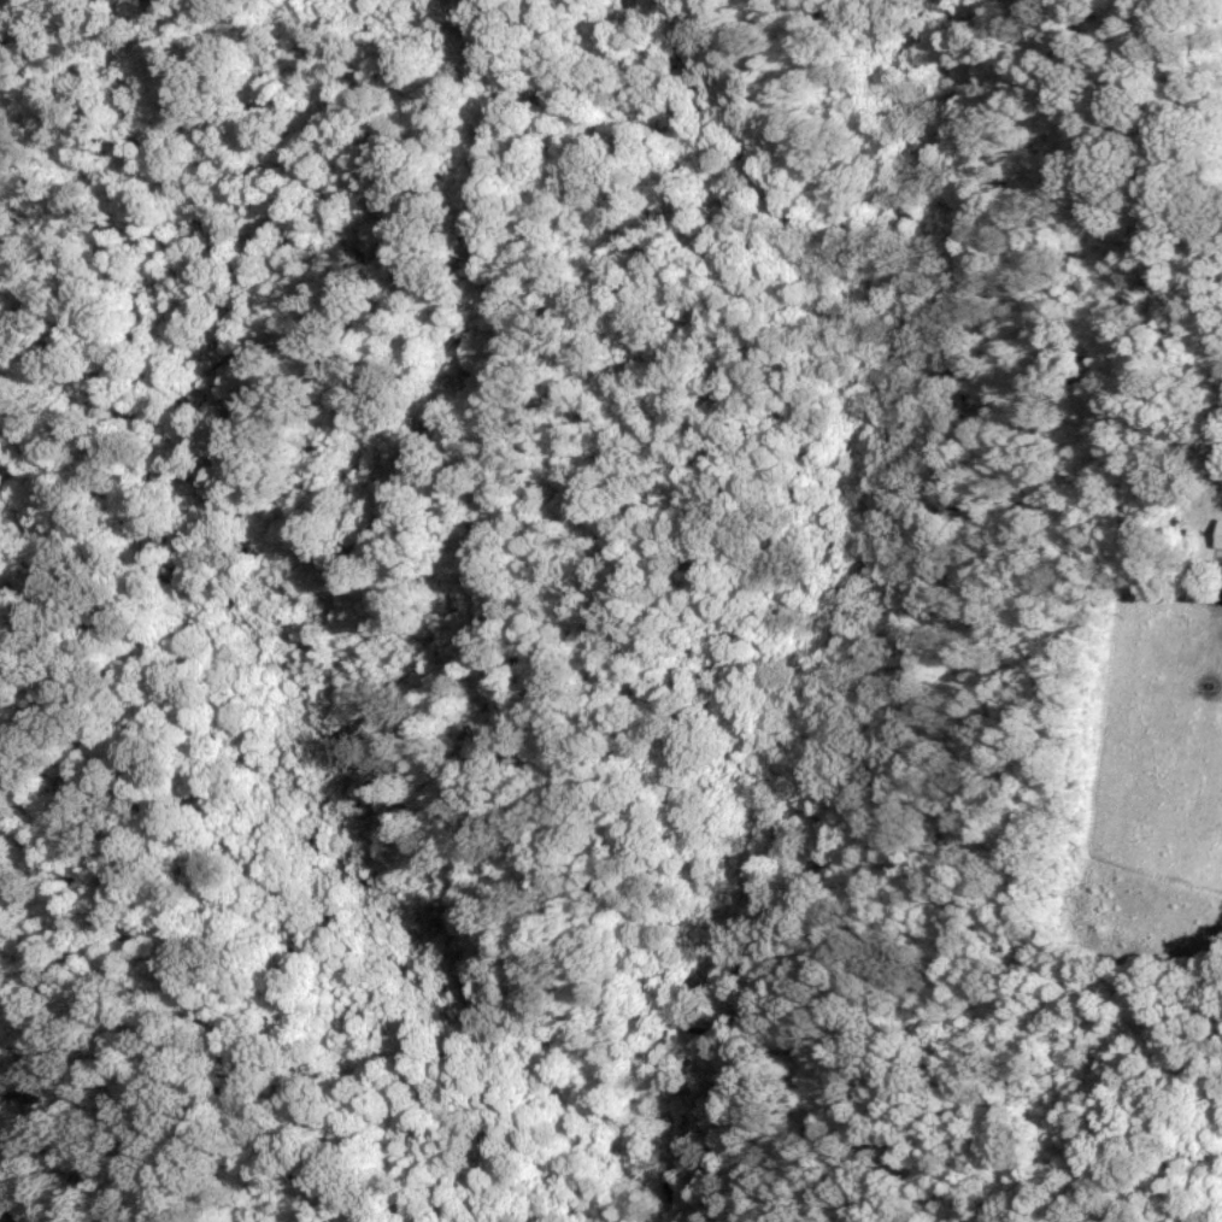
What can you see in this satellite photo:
building: (1217, 534)

